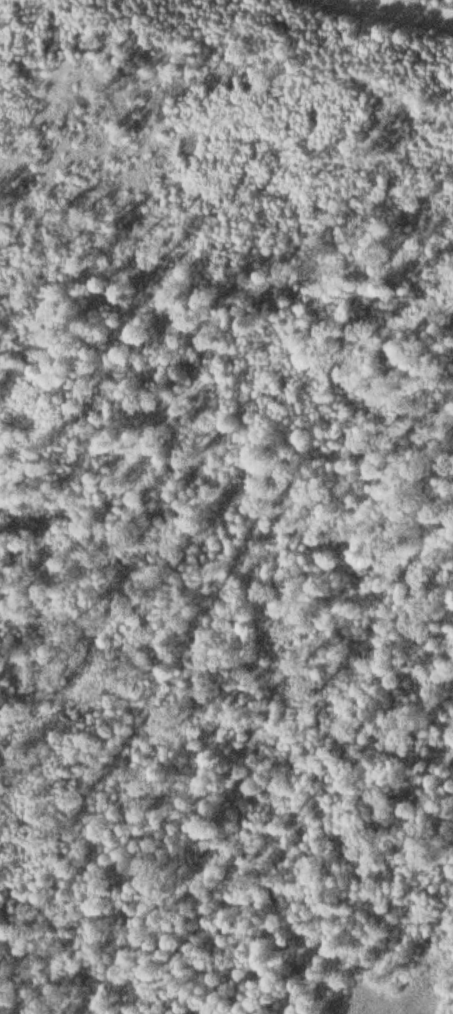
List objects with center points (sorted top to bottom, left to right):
road: (395, 12)

